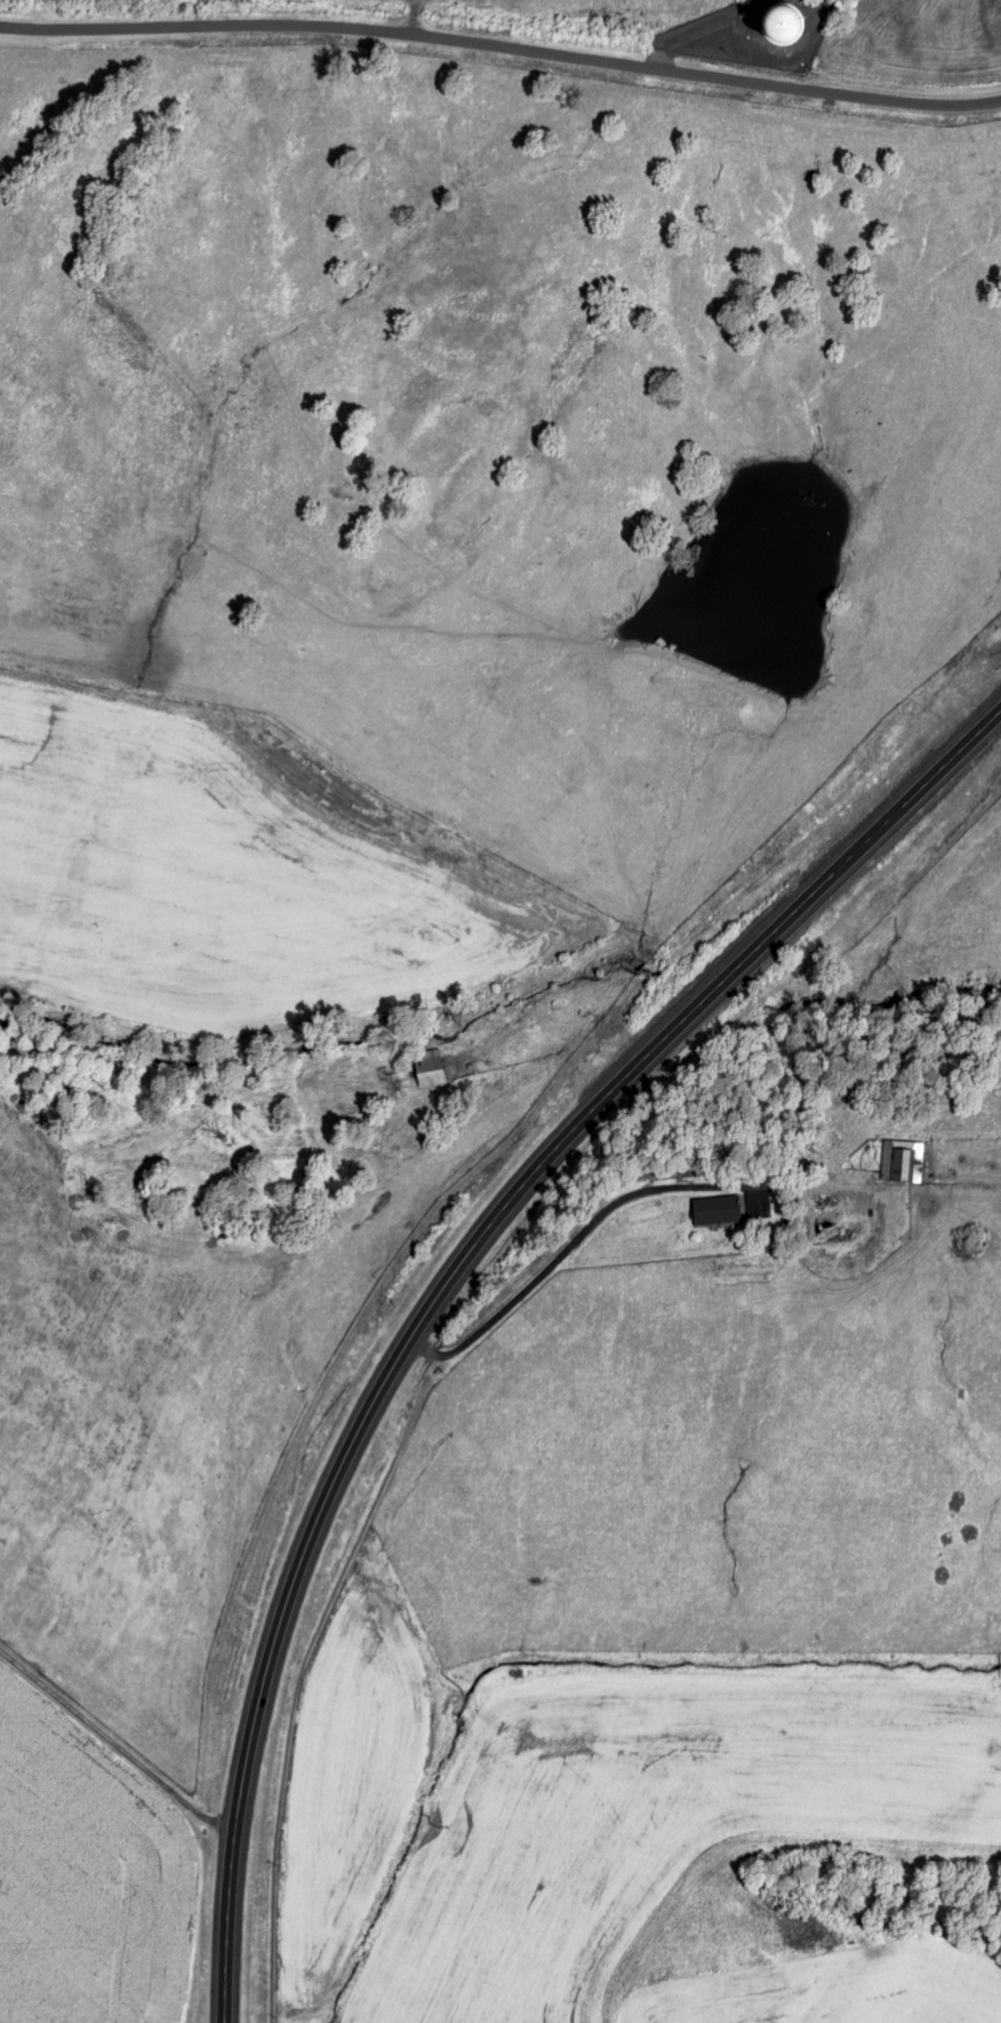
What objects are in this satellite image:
road: (501, 49)
building: (905, 1163)
building: (720, 1212)
road: (452, 1279)

